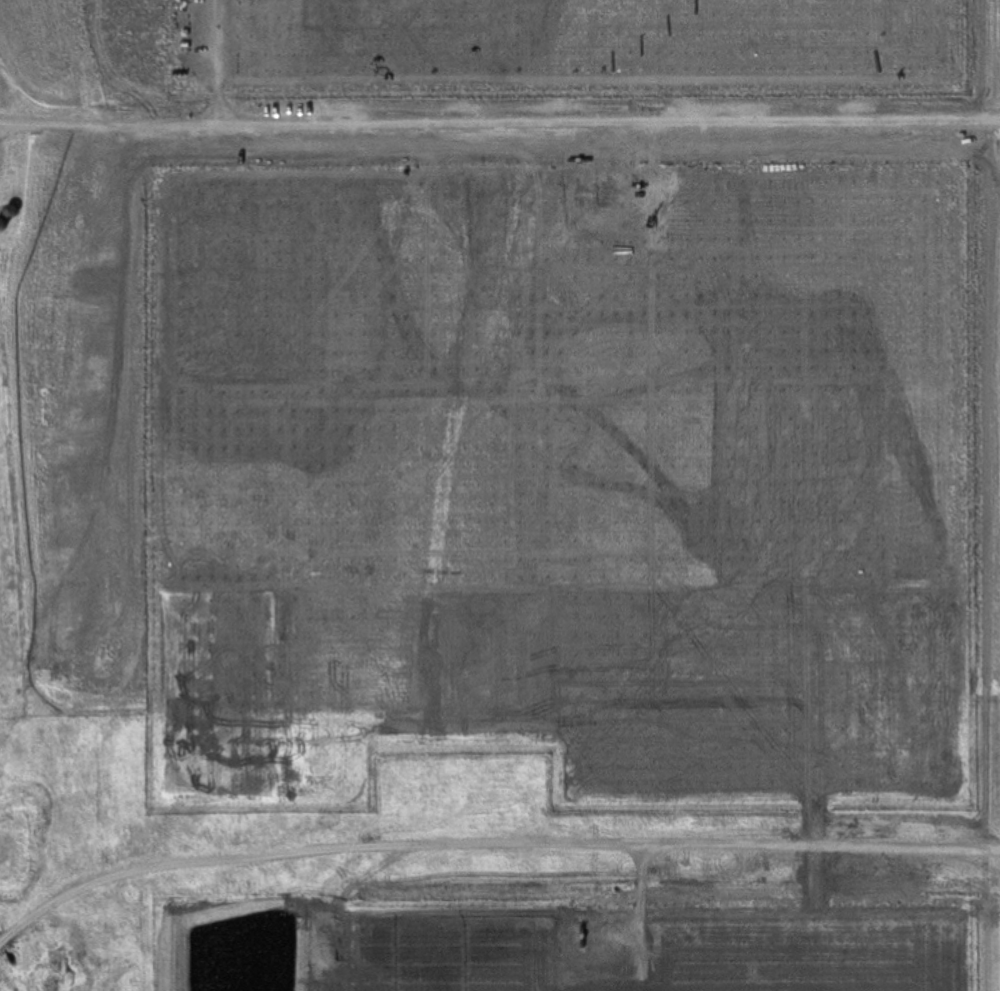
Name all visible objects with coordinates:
road: (500, 127)
road: (486, 850)

